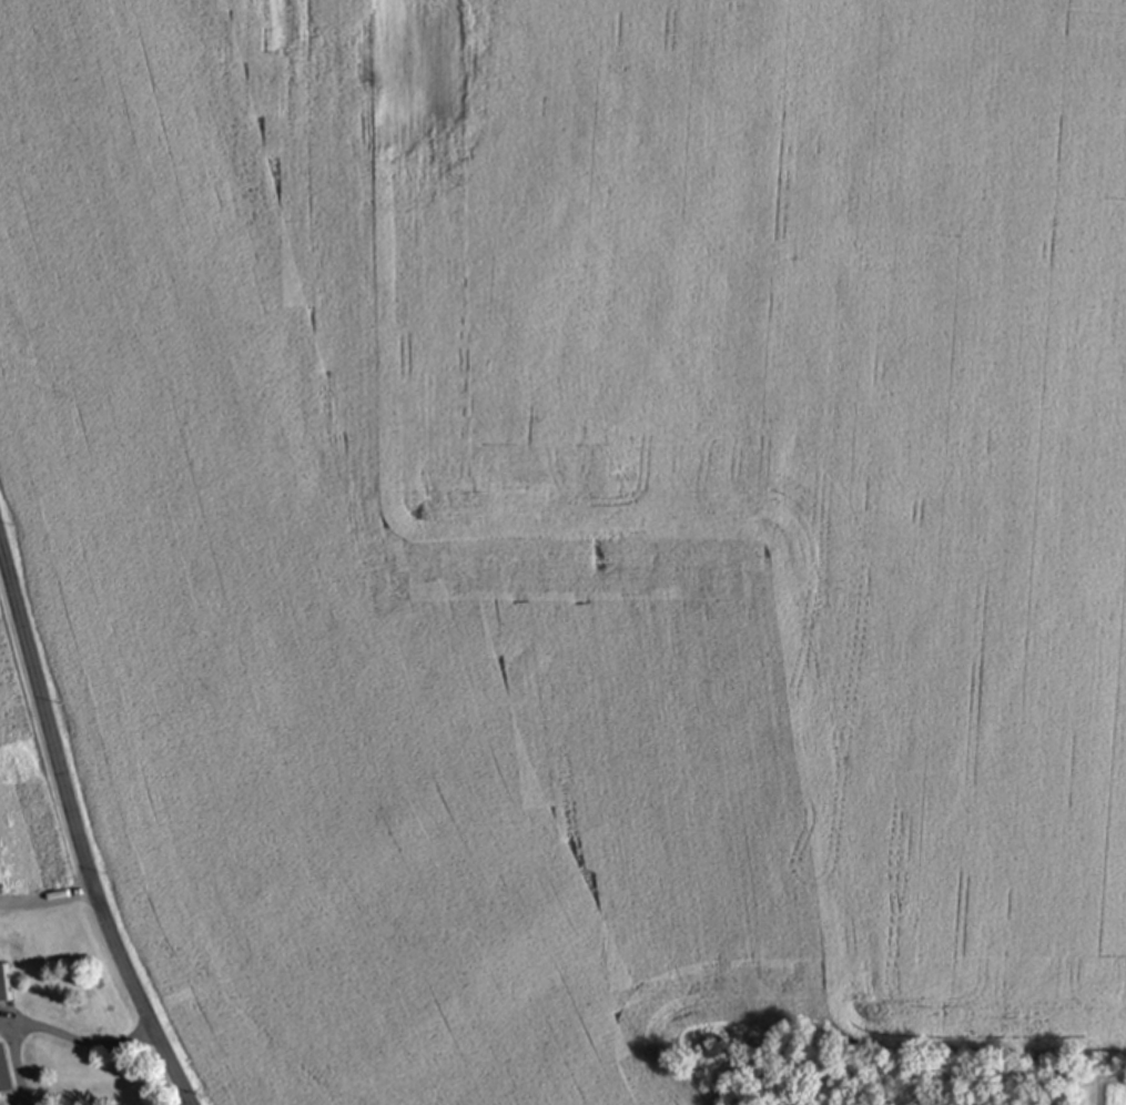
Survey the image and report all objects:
road: (79, 822)
road: (50, 900)
building: (3, 985)
road: (79, 1038)
road: (14, 1063)
building: (4, 1072)

